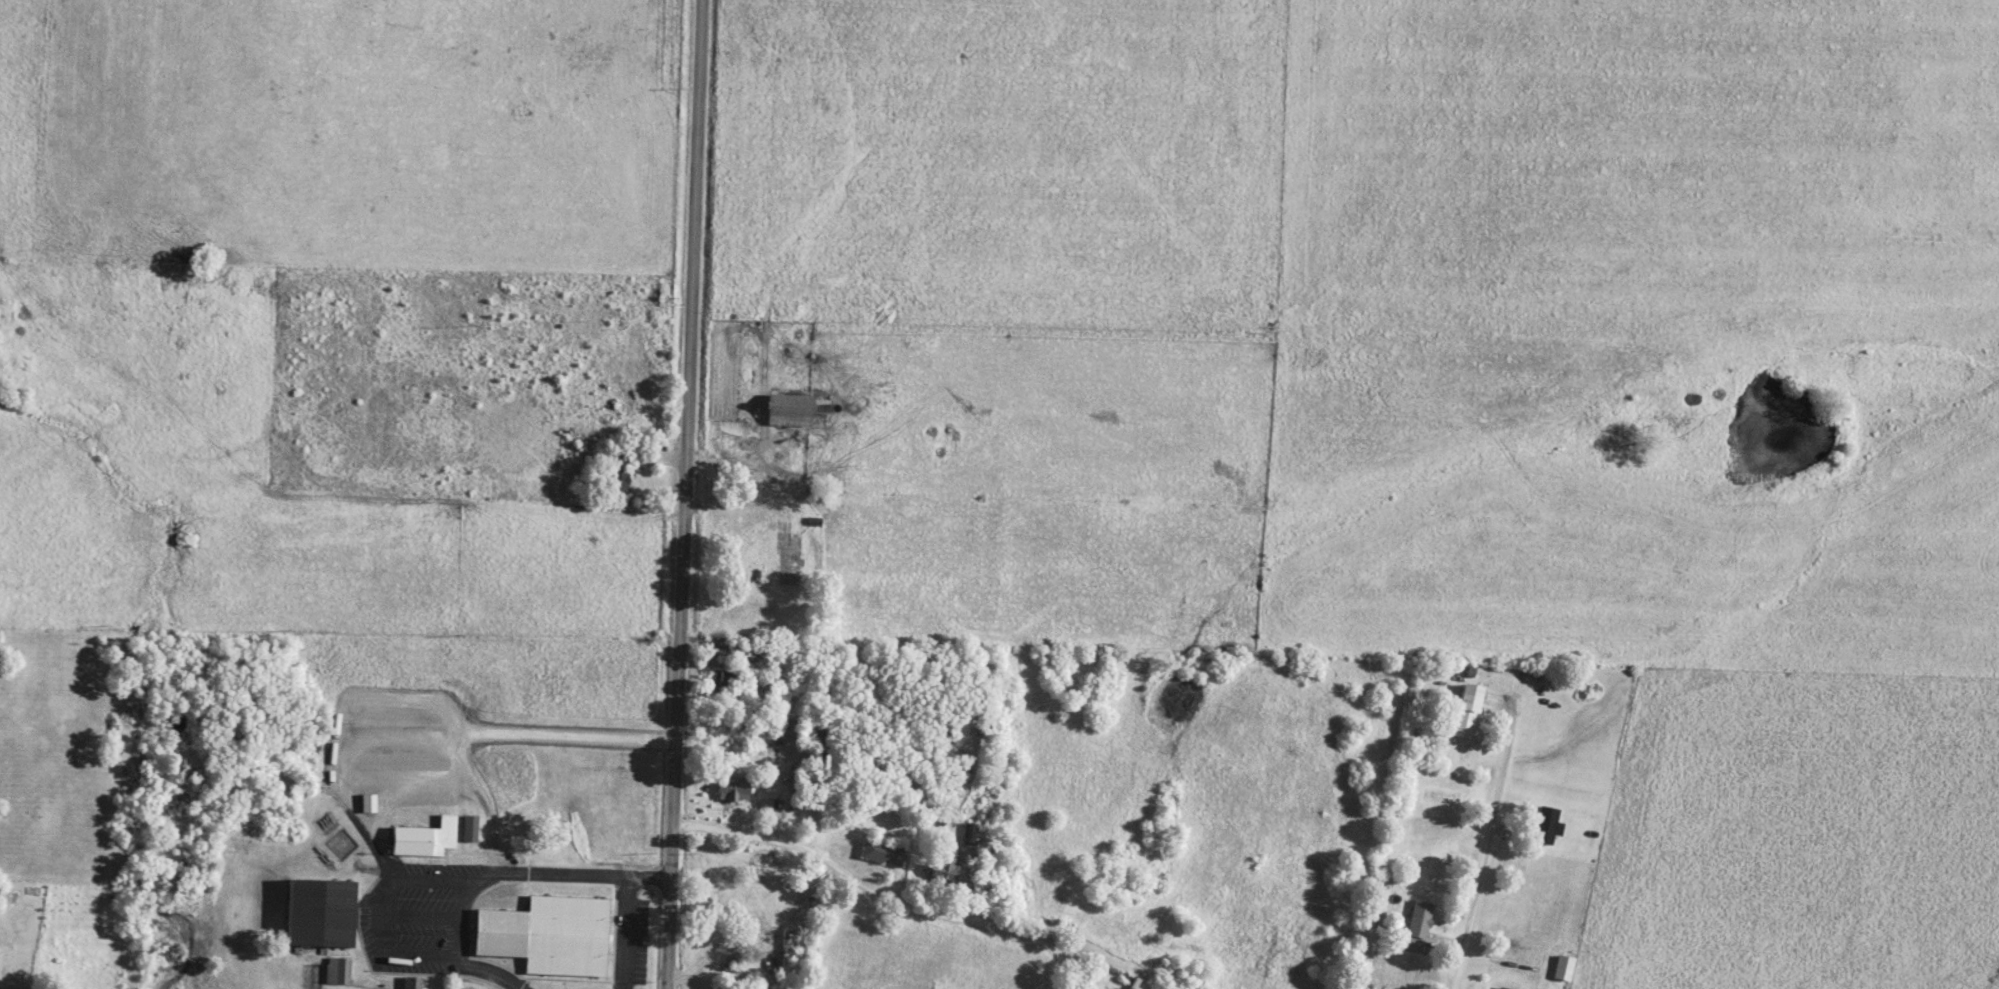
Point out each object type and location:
building: (795, 409)
building: (618, 473)
road: (683, 494)
road: (749, 496)
building: (781, 534)
building: (748, 648)
building: (723, 680)
building: (1468, 710)
road: (499, 732)
building: (733, 789)
building: (368, 802)
building: (1547, 824)
building: (470, 827)
building: (425, 837)
road: (1487, 845)
building: (884, 851)
building: (946, 868)
road: (497, 872)
road: (882, 896)
building: (322, 911)
building: (1420, 919)
building: (567, 935)
building: (1563, 967)
building: (338, 970)
building: (412, 982)
building: (1505, 987)

